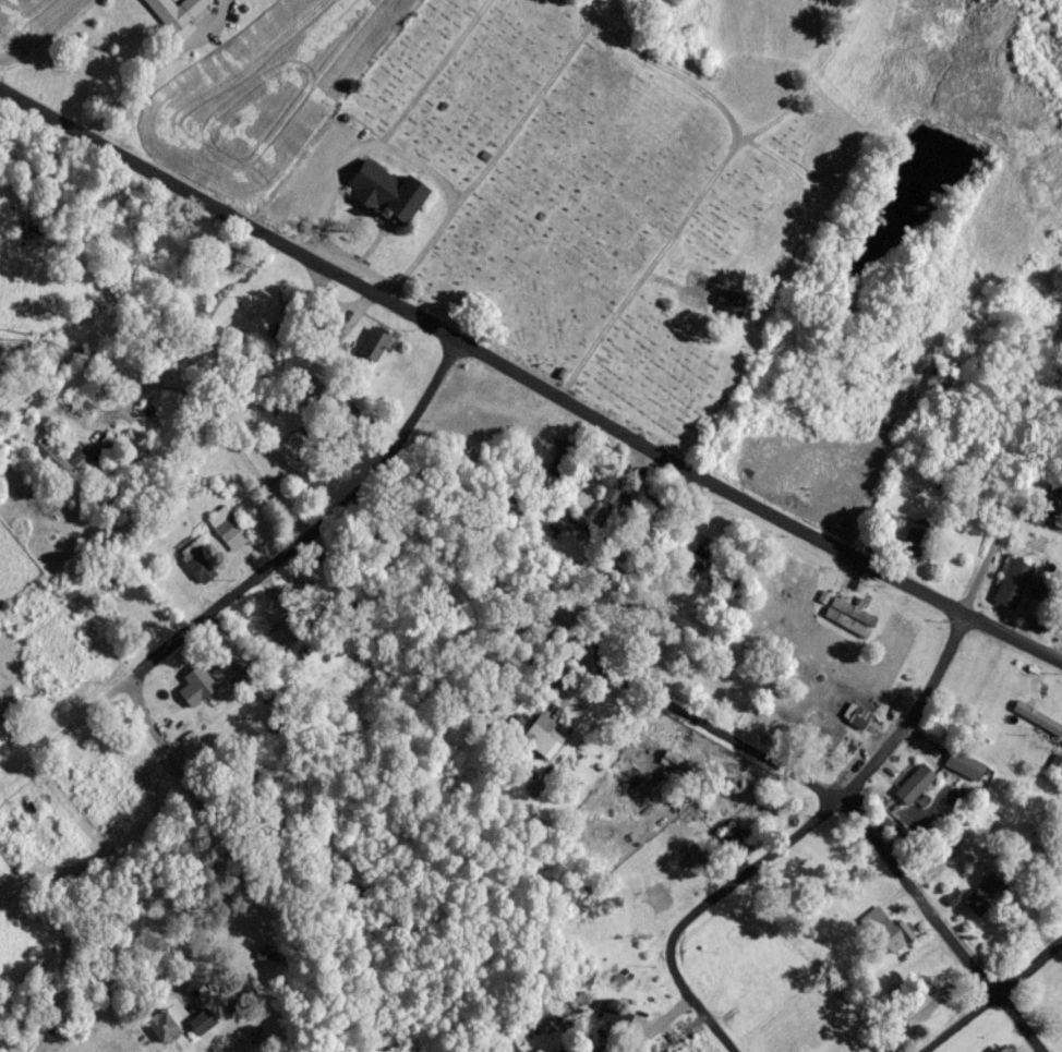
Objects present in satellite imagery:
building: (171, 16)
road: (154, 69)
road: (388, 134)
road: (492, 162)
road: (710, 186)
building: (405, 211)
building: (725, 310)
building: (370, 354)
road: (530, 387)
road: (224, 448)
building: (70, 467)
building: (1050, 508)
road: (1035, 525)
building: (226, 536)
road: (643, 568)
building: (194, 575)
road: (250, 583)
building: (1011, 590)
building: (781, 603)
building: (138, 615)
building: (854, 621)
building: (276, 646)
road: (938, 661)
building: (193, 694)
building: (2, 709)
building: (856, 726)
building: (1036, 729)
building: (540, 750)
road: (162, 753)
building: (675, 771)
building: (961, 774)
building: (910, 793)
building: (636, 800)
road: (854, 811)
building: (765, 815)
building: (1061, 869)
building: (688, 872)
road: (751, 874)
building: (654, 909)
building: (883, 936)
road: (995, 1000)
road: (695, 1008)
building: (568, 1014)
building: (915, 1020)
building: (158, 1033)
building: (507, 1051)

